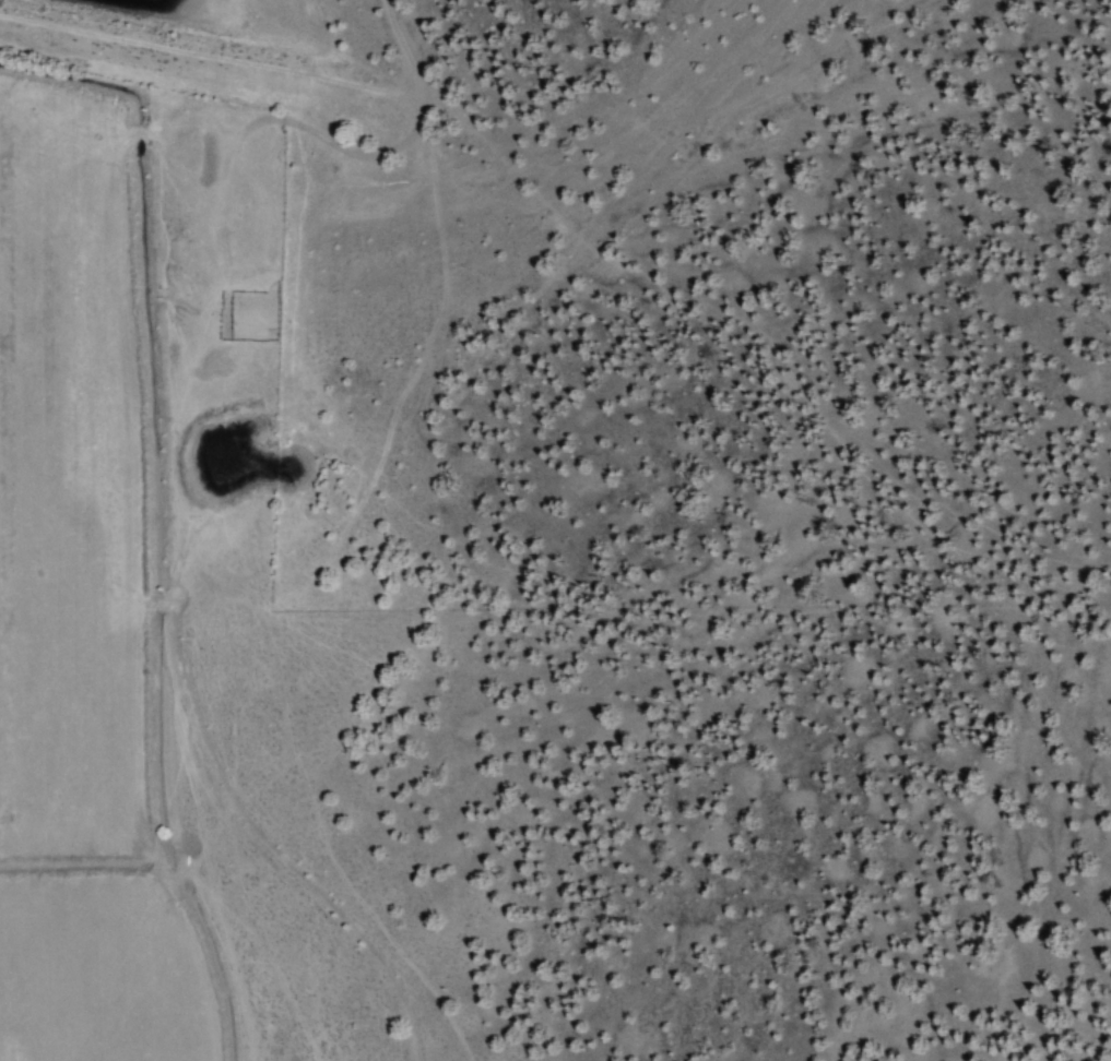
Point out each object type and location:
dam: (193, 45)
road: (206, 56)
road: (327, 555)

